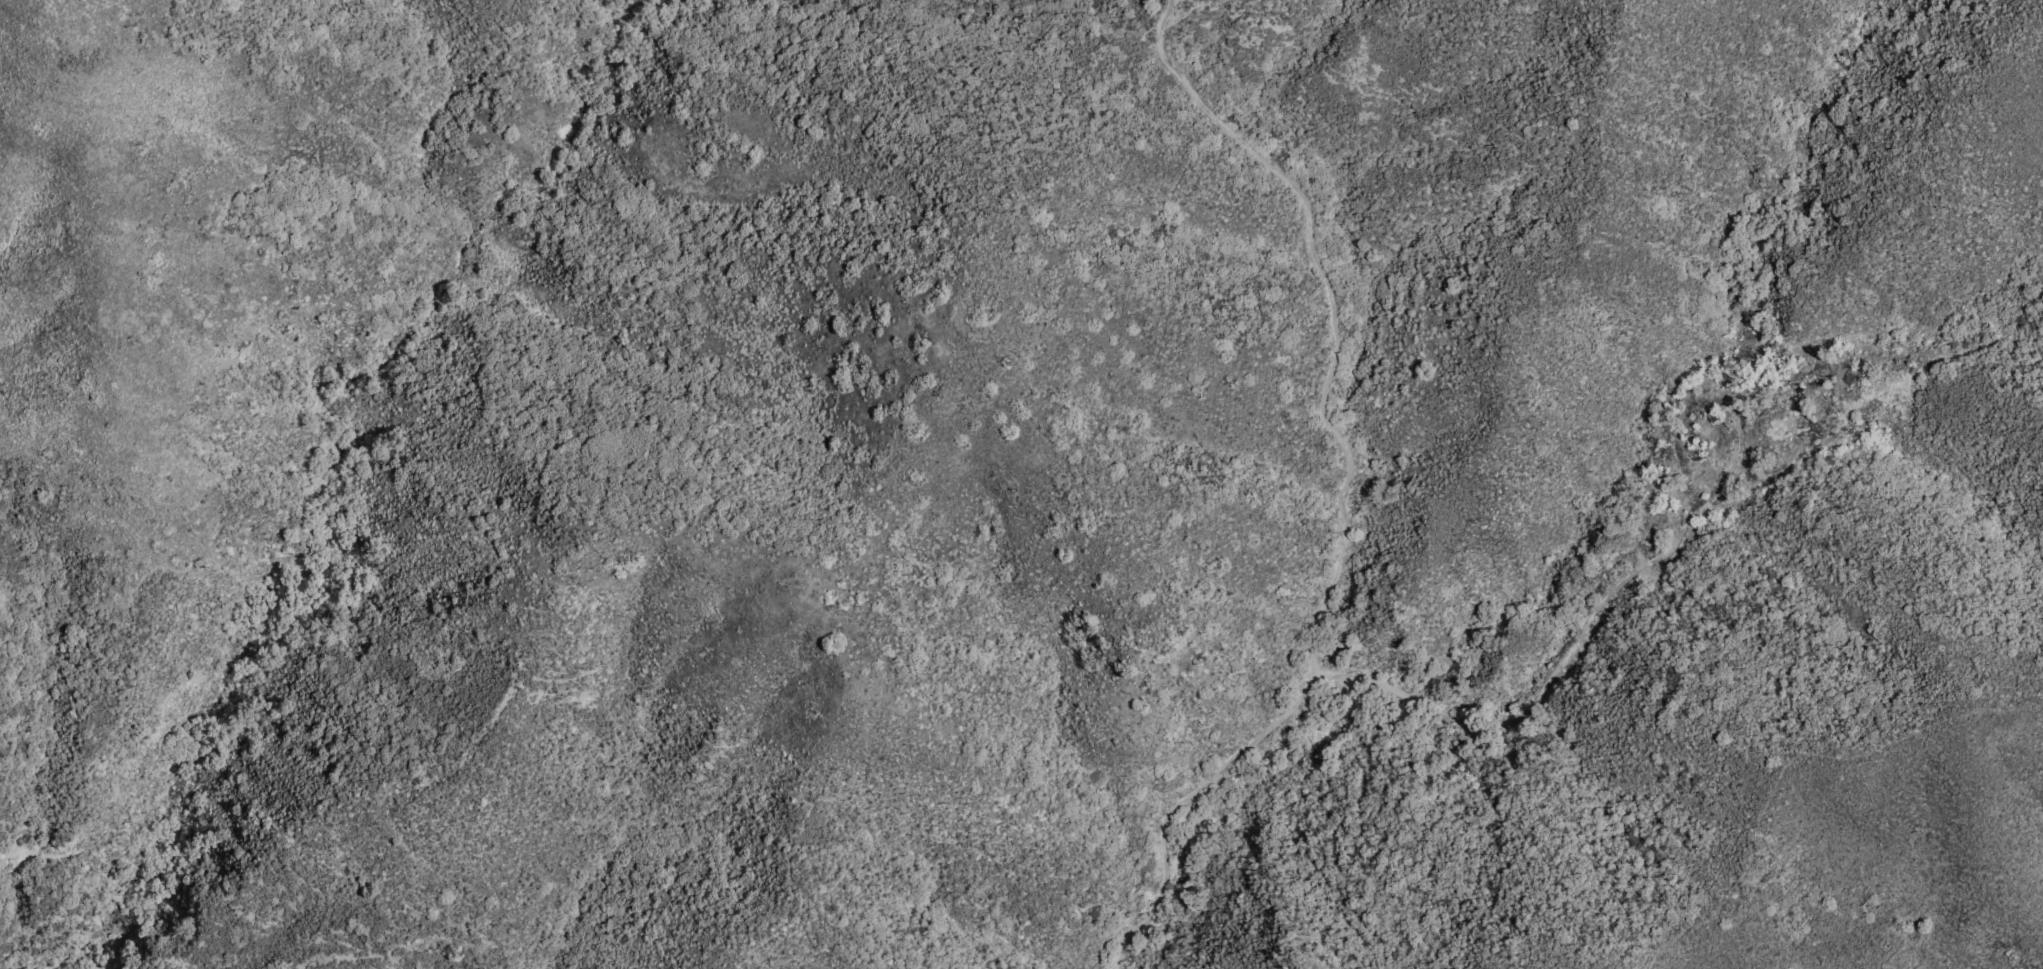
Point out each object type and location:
road: (1333, 321)
building: (1761, 377)
building: (1701, 449)
road: (1603, 618)
road: (1164, 825)

